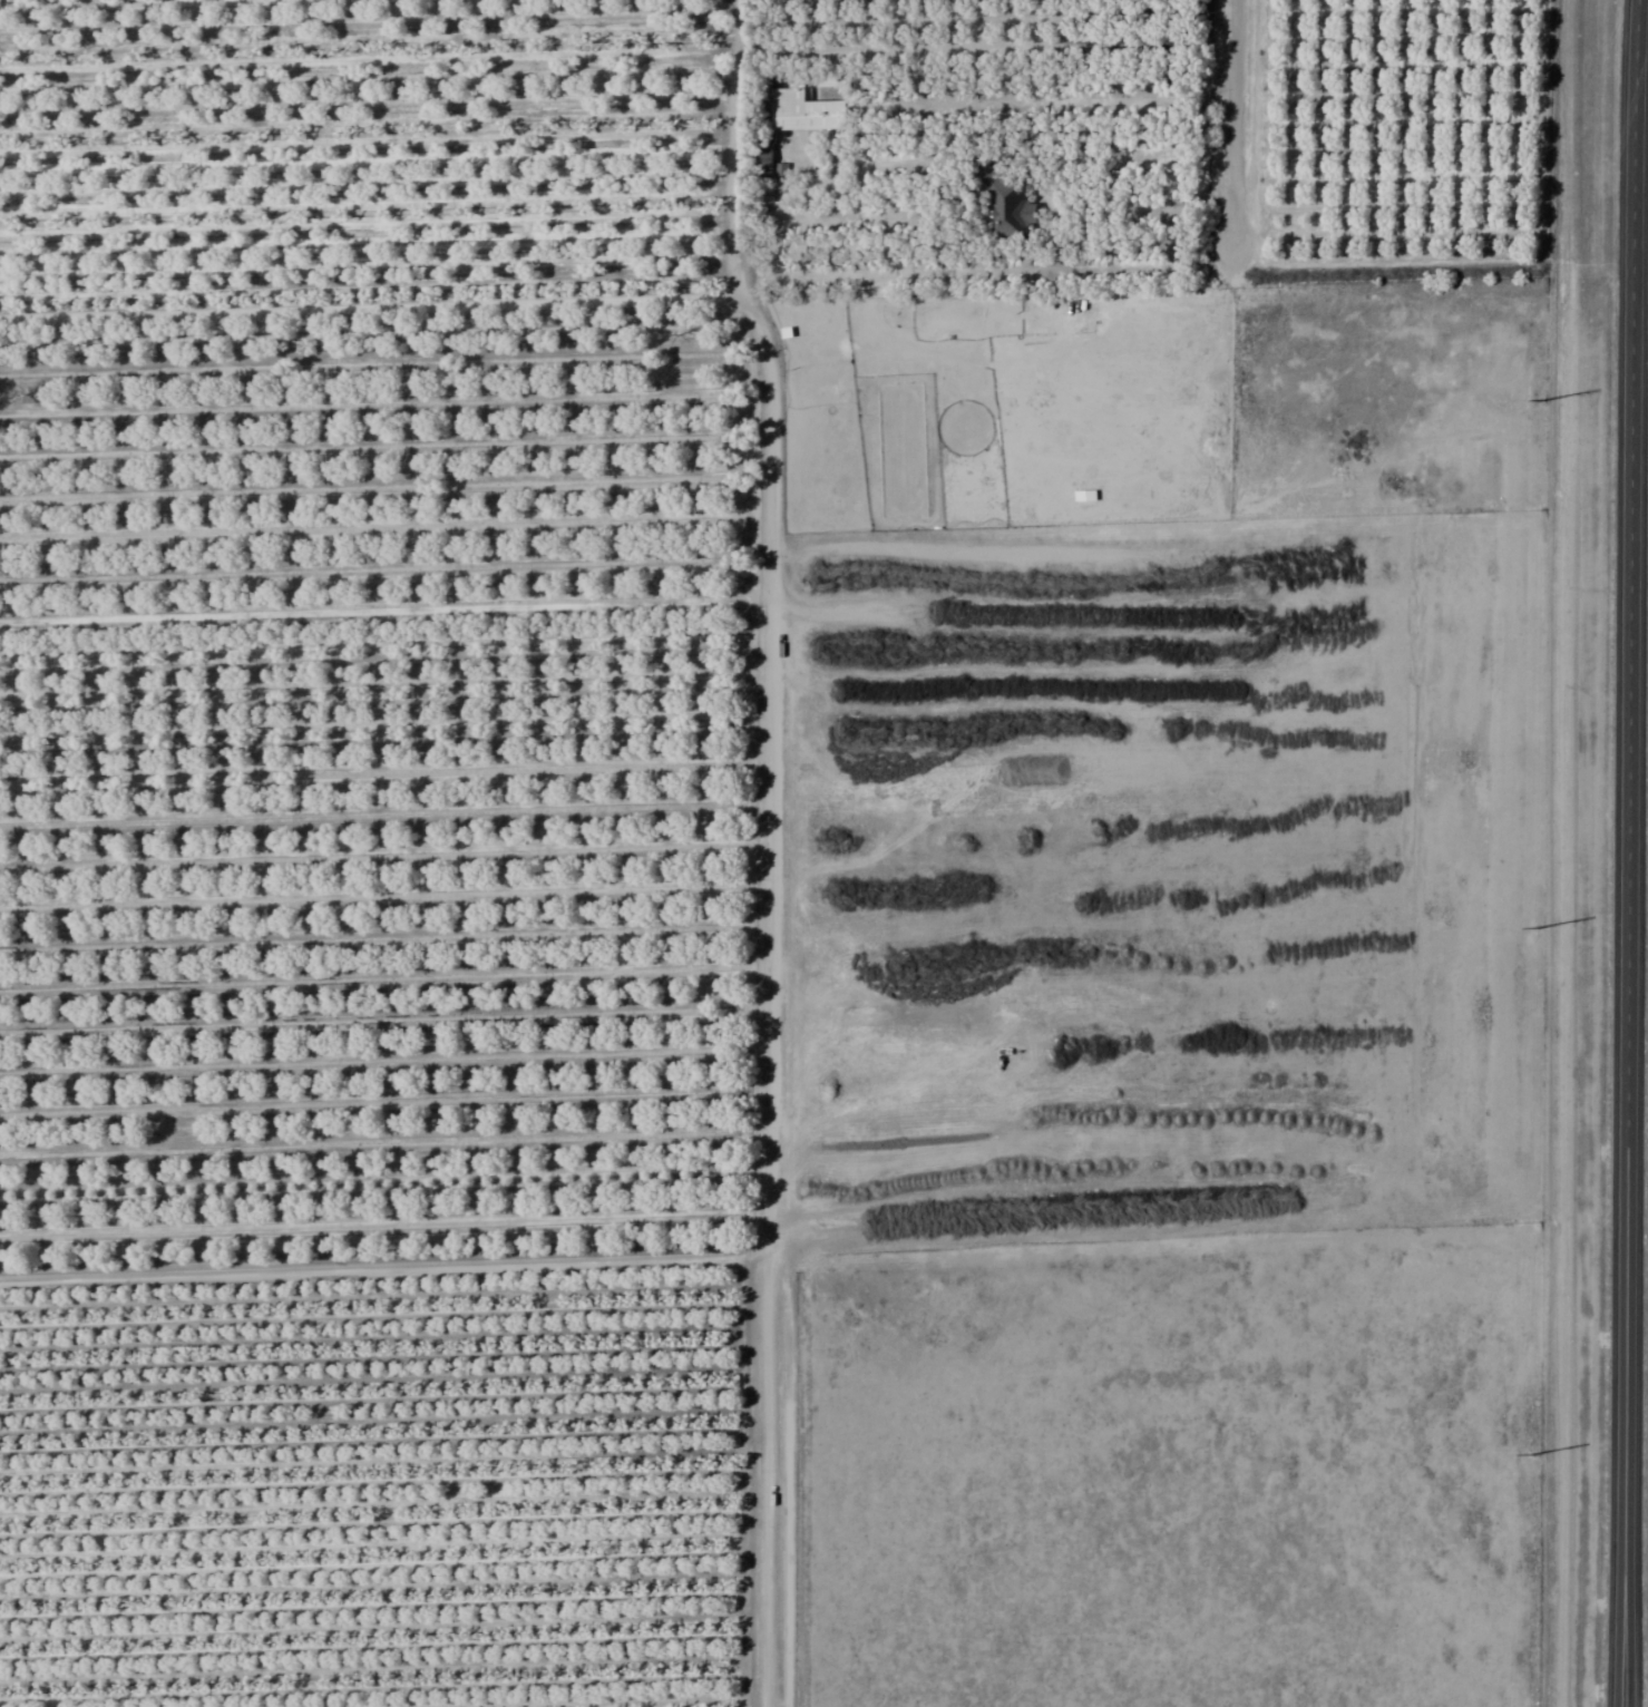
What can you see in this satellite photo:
building: (802, 111)
road: (1236, 130)
building: (1001, 204)
road: (1630, 428)
road: (771, 849)
road: (1625, 1281)

